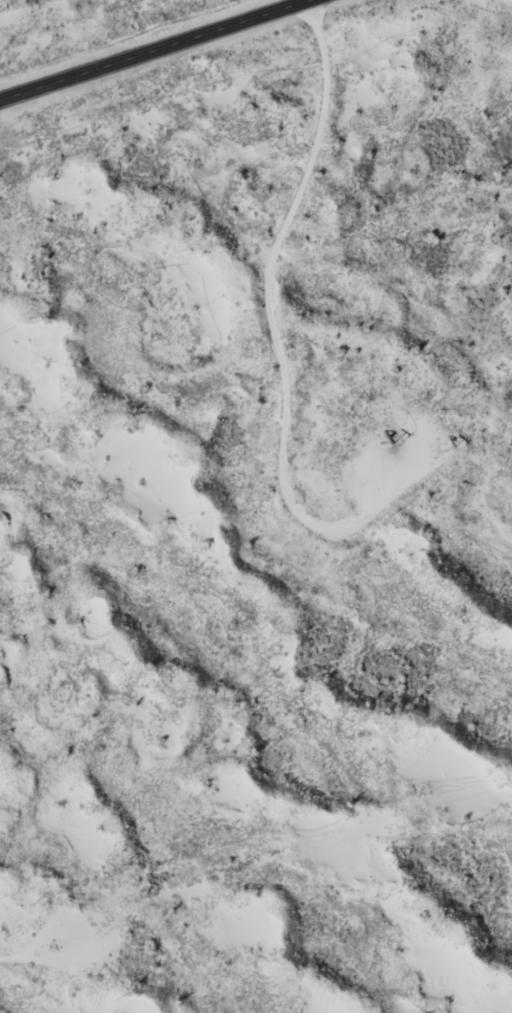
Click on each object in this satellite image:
road: (150, 48)

